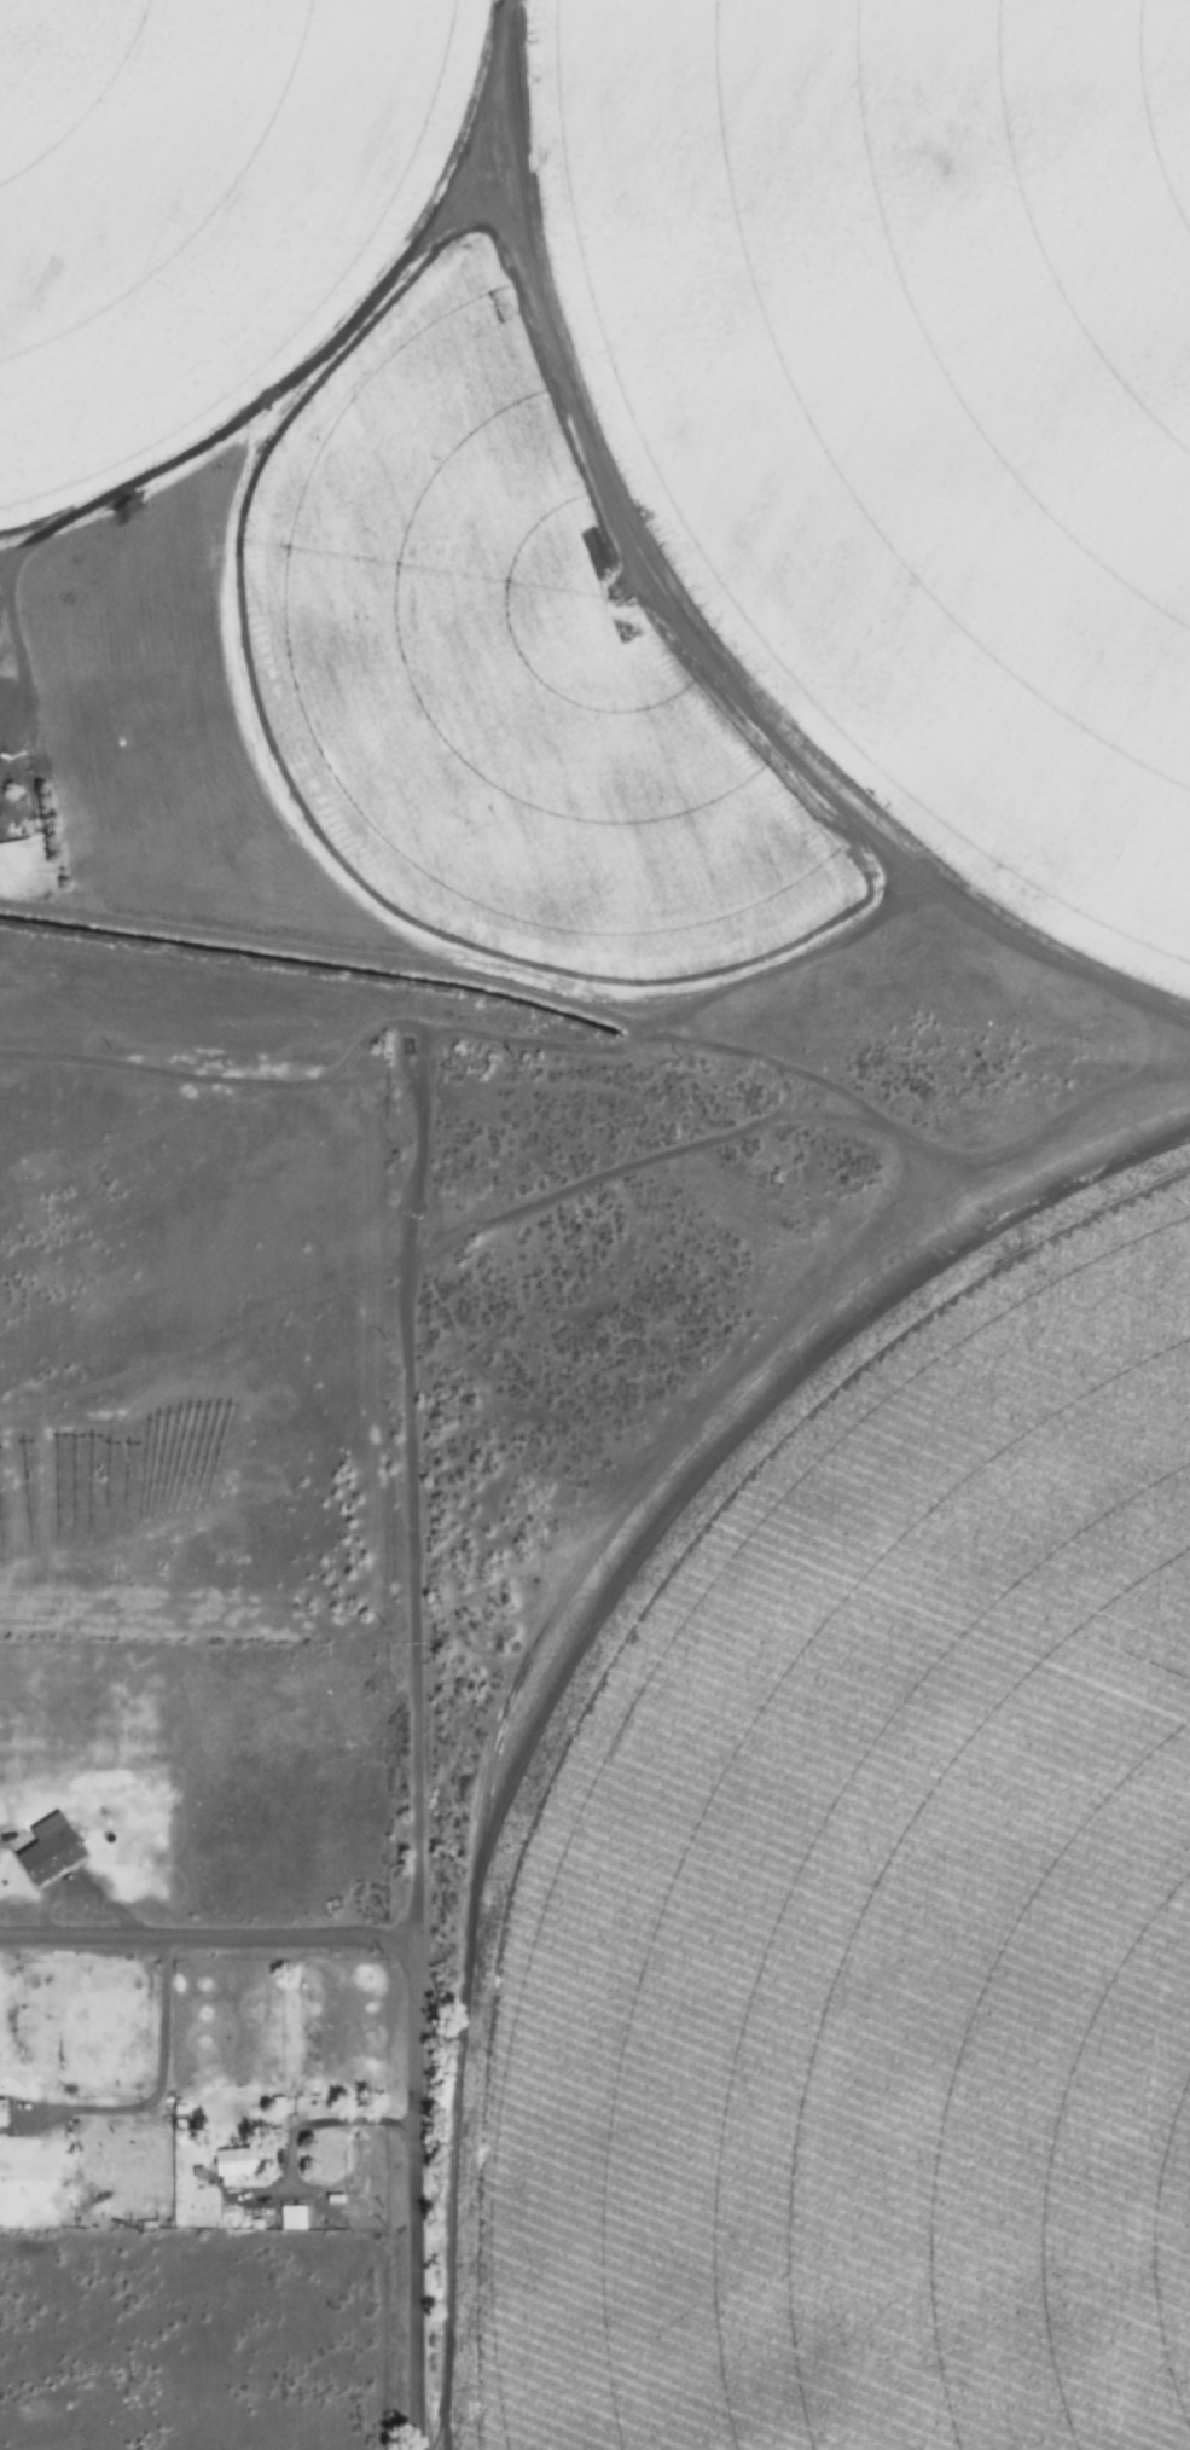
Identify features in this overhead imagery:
road: (405, 1842)
building: (50, 1854)
building: (275, 2107)
building: (1, 2113)
building: (233, 2161)
building: (290, 2217)

